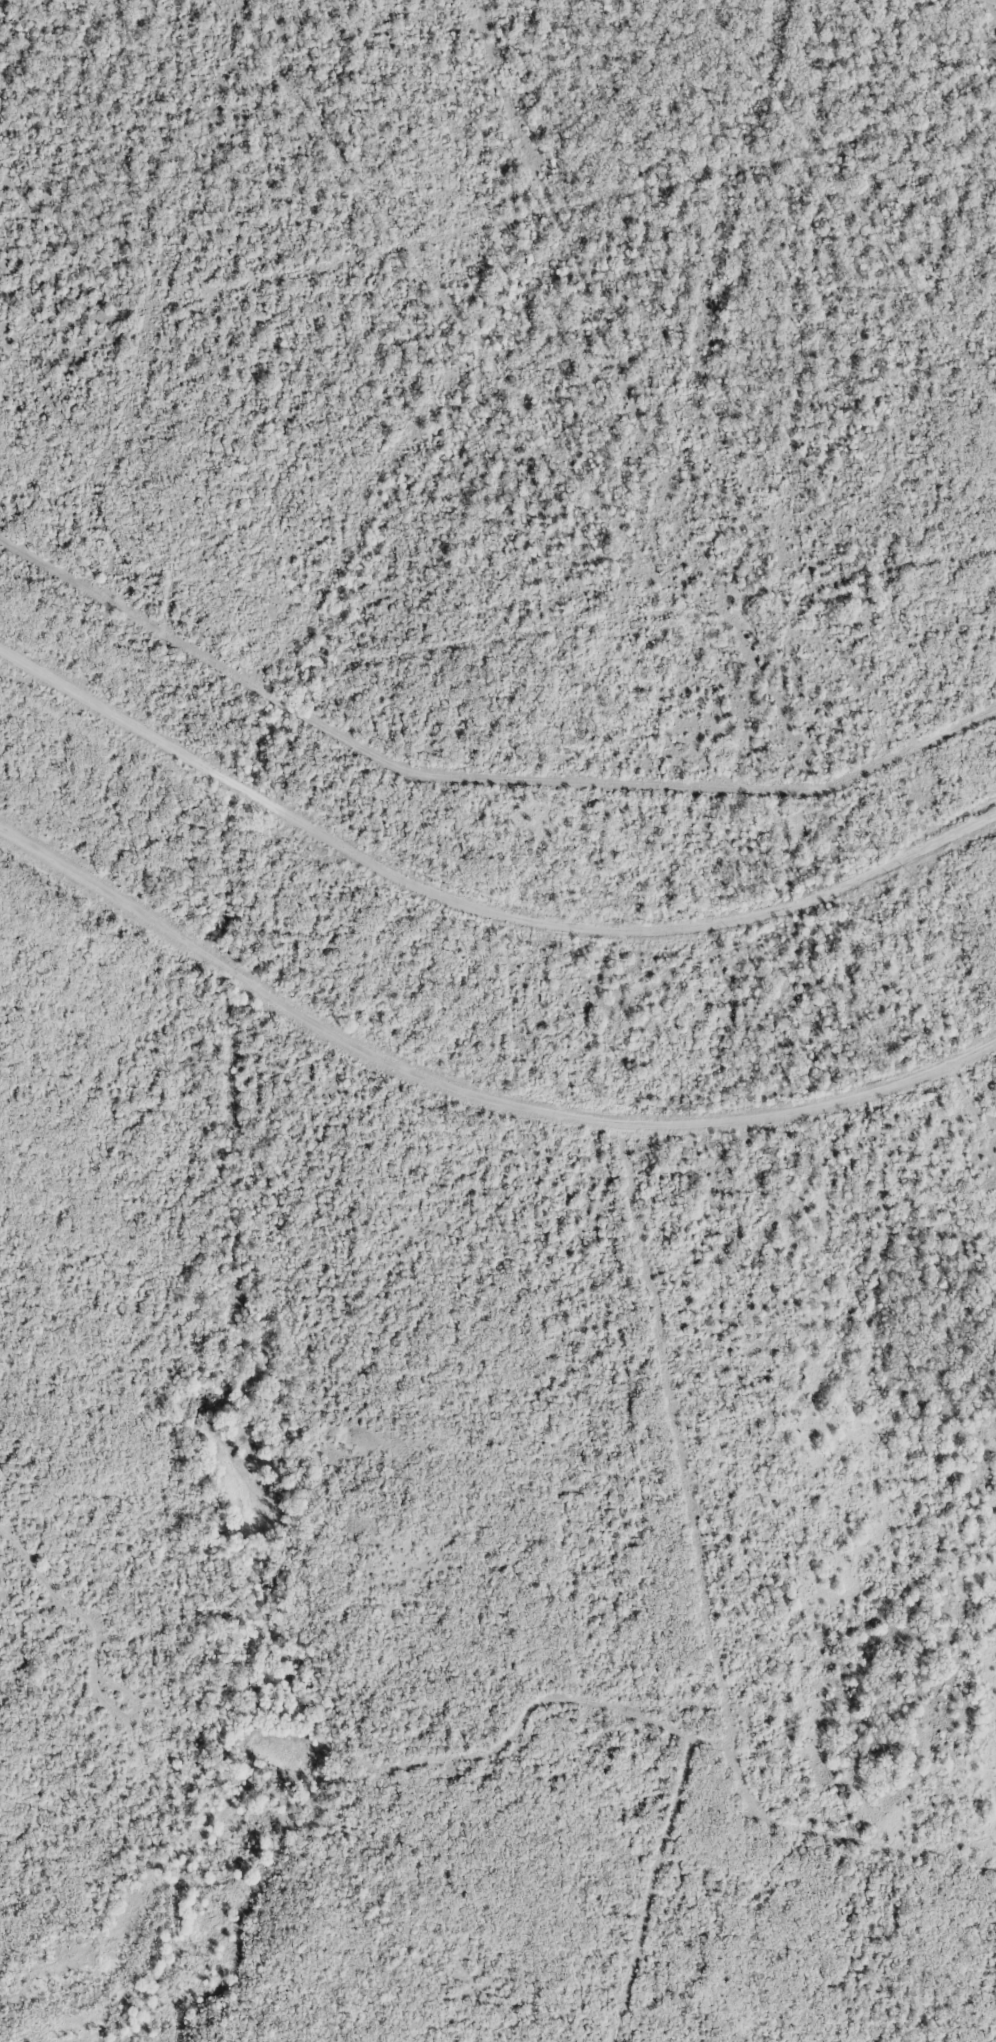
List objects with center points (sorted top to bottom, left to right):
road: (474, 896)
road: (471, 1094)

